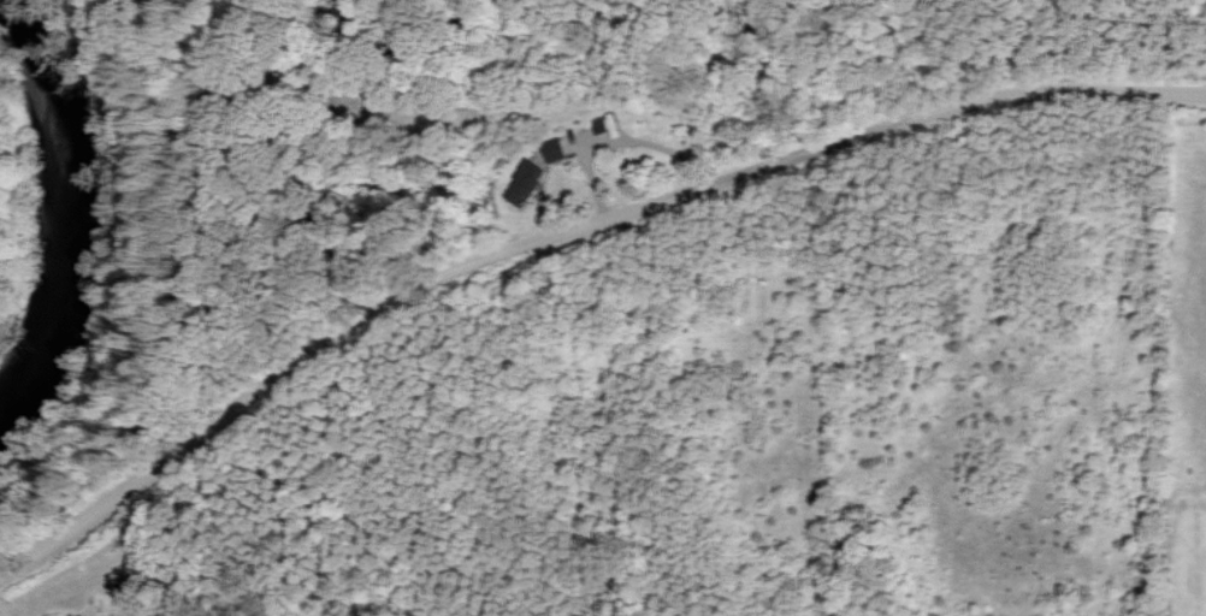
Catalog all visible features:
road: (1106, 99)
building: (555, 149)
building: (524, 183)
river: (66, 211)
road: (497, 256)
road: (29, 565)

